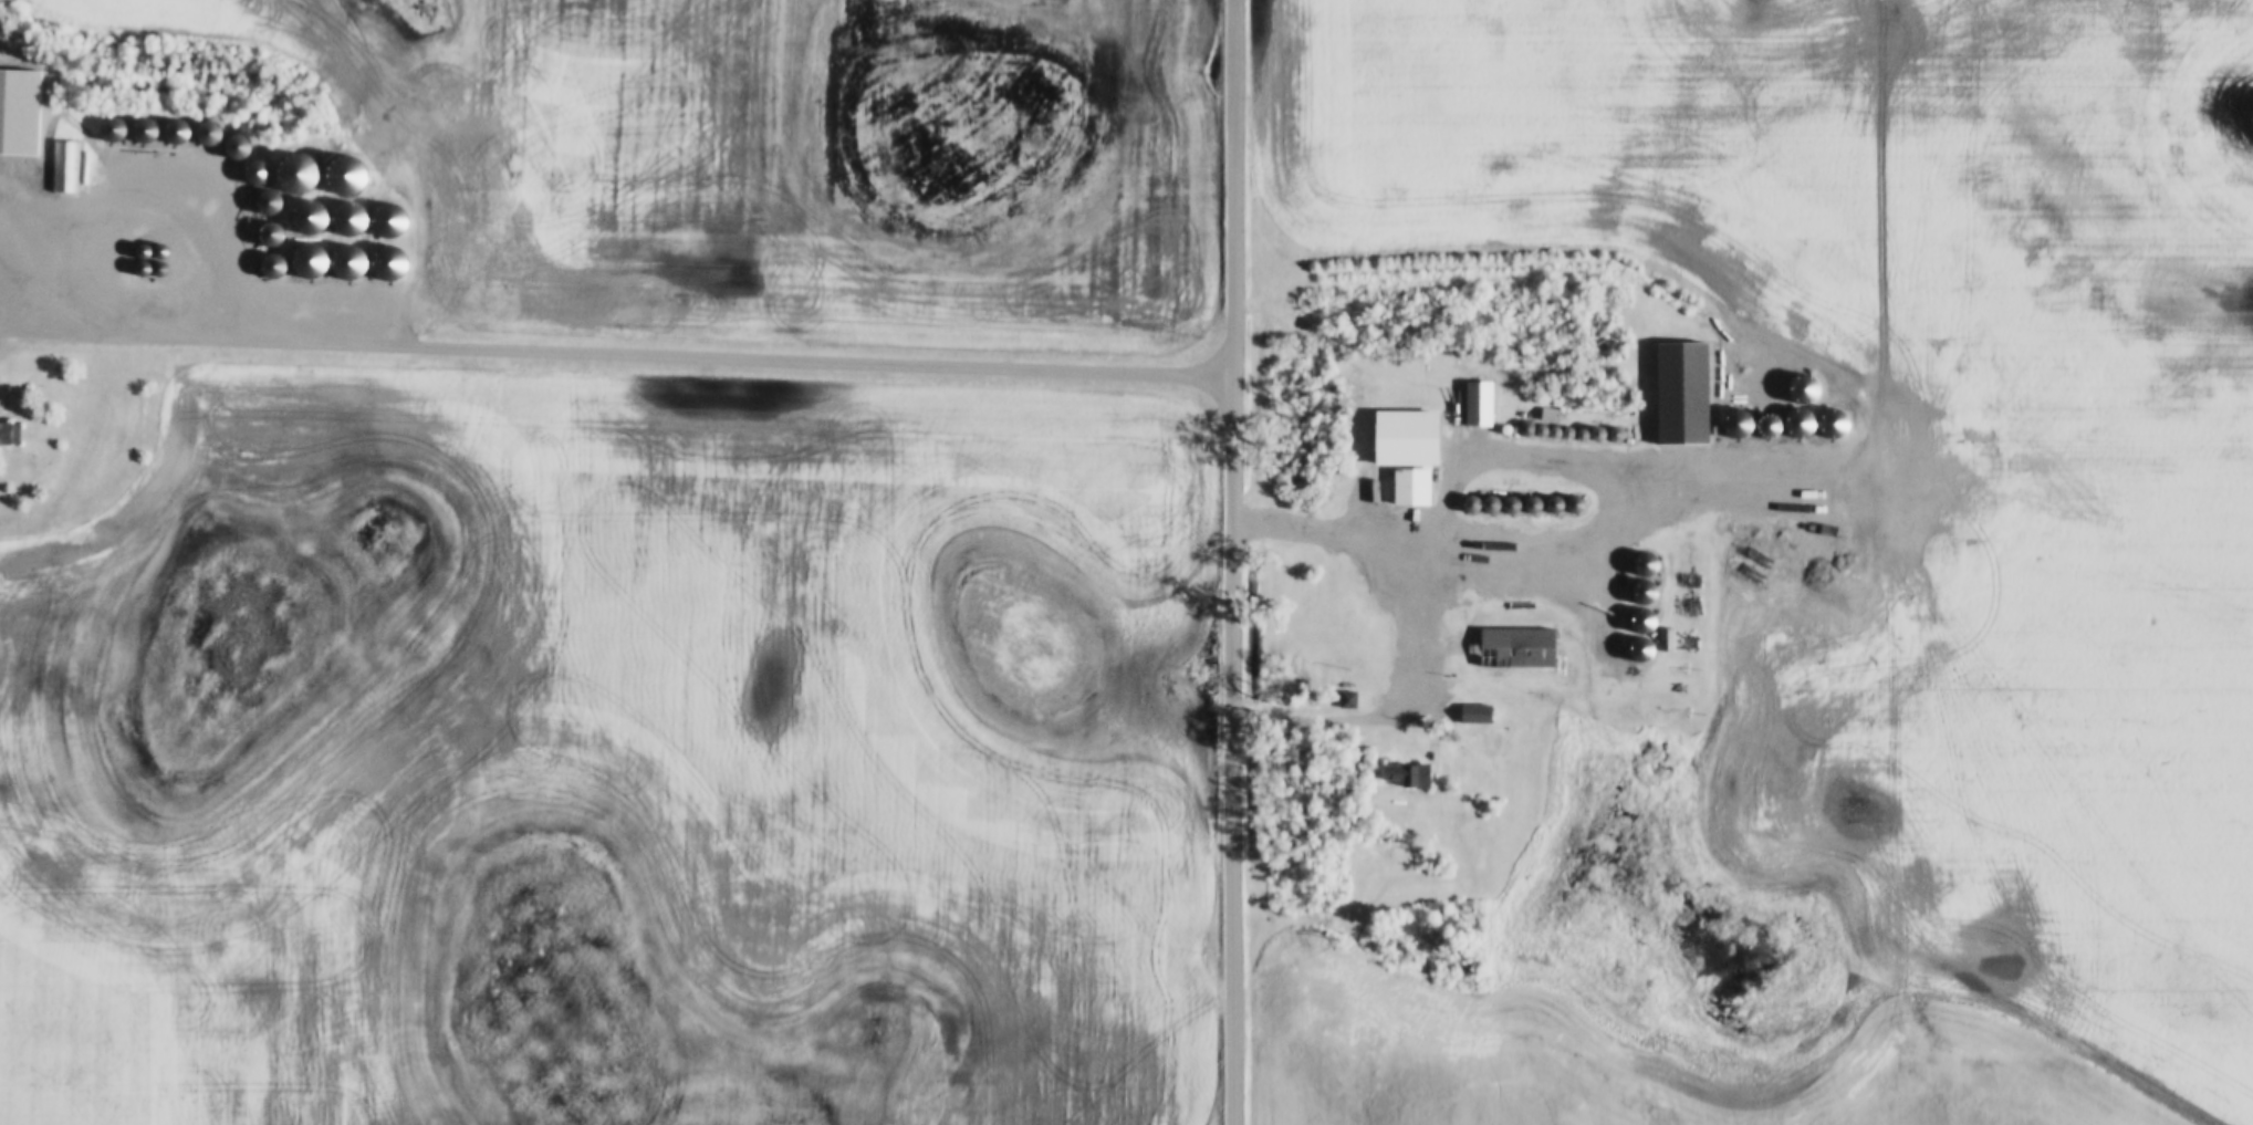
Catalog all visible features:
building: (7, 145)
building: (71, 174)
road: (405, 343)
building: (1671, 395)
building: (11, 436)
building: (1401, 488)
road: (1237, 562)
road: (1428, 628)
building: (1509, 649)
building: (1391, 773)

